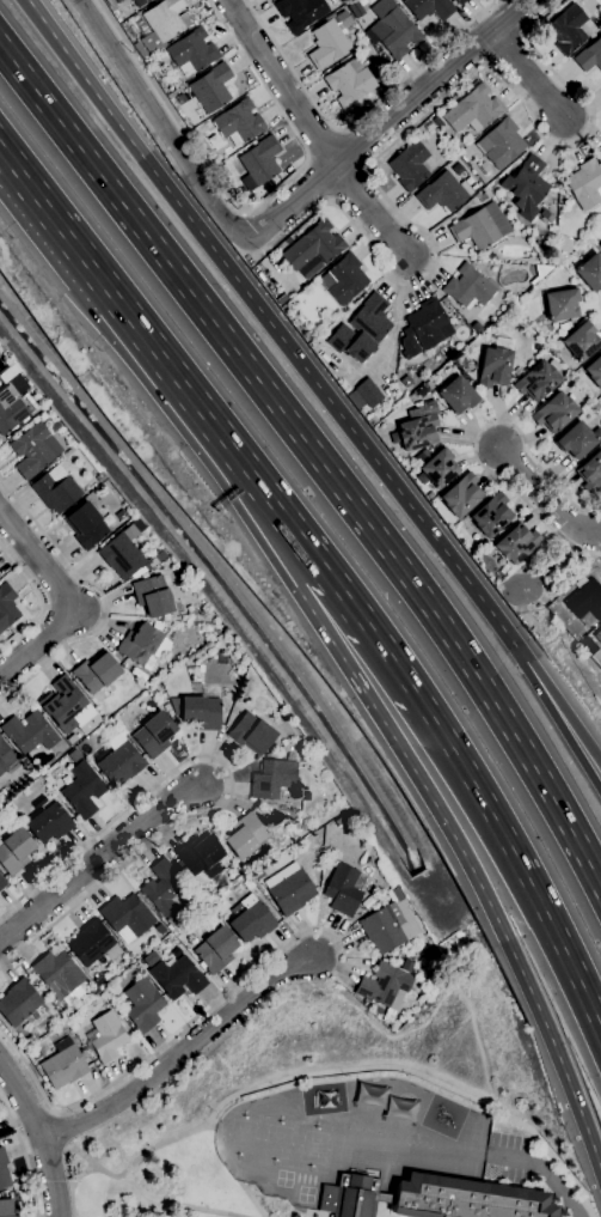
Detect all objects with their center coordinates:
building: (111, 2)
building: (140, 2)
building: (338, 2)
building: (460, 2)
building: (355, 8)
building: (429, 8)
building: (300, 12)
building: (161, 24)
building: (393, 29)
building: (570, 30)
building: (330, 41)
building: (139, 50)
building: (192, 53)
building: (589, 56)
road: (527, 75)
road: (278, 81)
building: (350, 83)
building: (210, 90)
building: (477, 108)
road: (356, 118)
road: (385, 118)
road: (158, 121)
building: (239, 123)
road: (395, 141)
building: (502, 144)
building: (600, 150)
building: (260, 160)
building: (410, 166)
building: (526, 184)
building: (585, 184)
building: (441, 194)
building: (484, 196)
road: (369, 209)
road: (249, 212)
road: (243, 214)
building: (546, 217)
road: (59, 225)
road: (243, 227)
building: (482, 227)
building: (564, 245)
building: (313, 247)
building: (600, 247)
building: (540, 273)
building: (590, 273)
building: (344, 280)
building: (468, 287)
building: (281, 300)
building: (562, 305)
road: (269, 322)
building: (565, 327)
building: (424, 328)
building: (477, 328)
building: (362, 330)
building: (581, 341)
building: (495, 367)
building: (595, 372)
building: (8, 373)
building: (406, 382)
building: (538, 382)
building: (430, 384)
building: (456, 394)
building: (364, 395)
building: (10, 410)
building: (554, 413)
road: (208, 419)
building: (54, 427)
building: (418, 427)
building: (576, 440)
road: (476, 444)
building: (35, 450)
road: (315, 456)
building: (439, 469)
building: (590, 474)
building: (100, 479)
building: (55, 489)
building: (430, 495)
building: (462, 495)
road: (545, 500)
building: (491, 515)
building: (121, 516)
building: (86, 525)
building: (517, 543)
building: (121, 556)
road: (38, 561)
road: (298, 561)
road: (330, 574)
building: (493, 579)
building: (155, 594)
road: (103, 598)
road: (39, 600)
building: (584, 602)
building: (6, 610)
building: (597, 637)
road: (38, 643)
building: (140, 646)
building: (97, 673)
road: (559, 702)
building: (63, 704)
building: (201, 713)
road: (556, 719)
building: (29, 732)
building: (251, 732)
building: (154, 735)
building: (74, 756)
building: (6, 759)
building: (119, 762)
street lamp: (189, 763)
building: (272, 778)
road: (231, 785)
building: (82, 790)
road: (491, 816)
building: (49, 824)
building: (299, 827)
building: (245, 836)
building: (14, 852)
building: (200, 857)
road: (96, 860)
road: (468, 866)
building: (2, 883)
building: (162, 887)
building: (289, 889)
building: (343, 890)
building: (206, 909)
building: (127, 918)
building: (176, 919)
building: (252, 920)
building: (387, 929)
building: (160, 930)
building: (91, 943)
building: (215, 950)
building: (151, 960)
building: (403, 965)
building: (57, 974)
building: (177, 978)
building: (441, 982)
building: (387, 990)
building: (92, 991)
building: (20, 1004)
building: (143, 1005)
road: (182, 1028)
building: (108, 1038)
road: (183, 1054)
building: (63, 1065)
road: (62, 1126)
road: (41, 1134)
park: (160, 1152)
road: (24, 1157)
building: (4, 1170)
road: (541, 1173)
road: (66, 1179)
building: (350, 1197)
building: (465, 1199)
building: (6, 1209)
building: (17, 1216)

